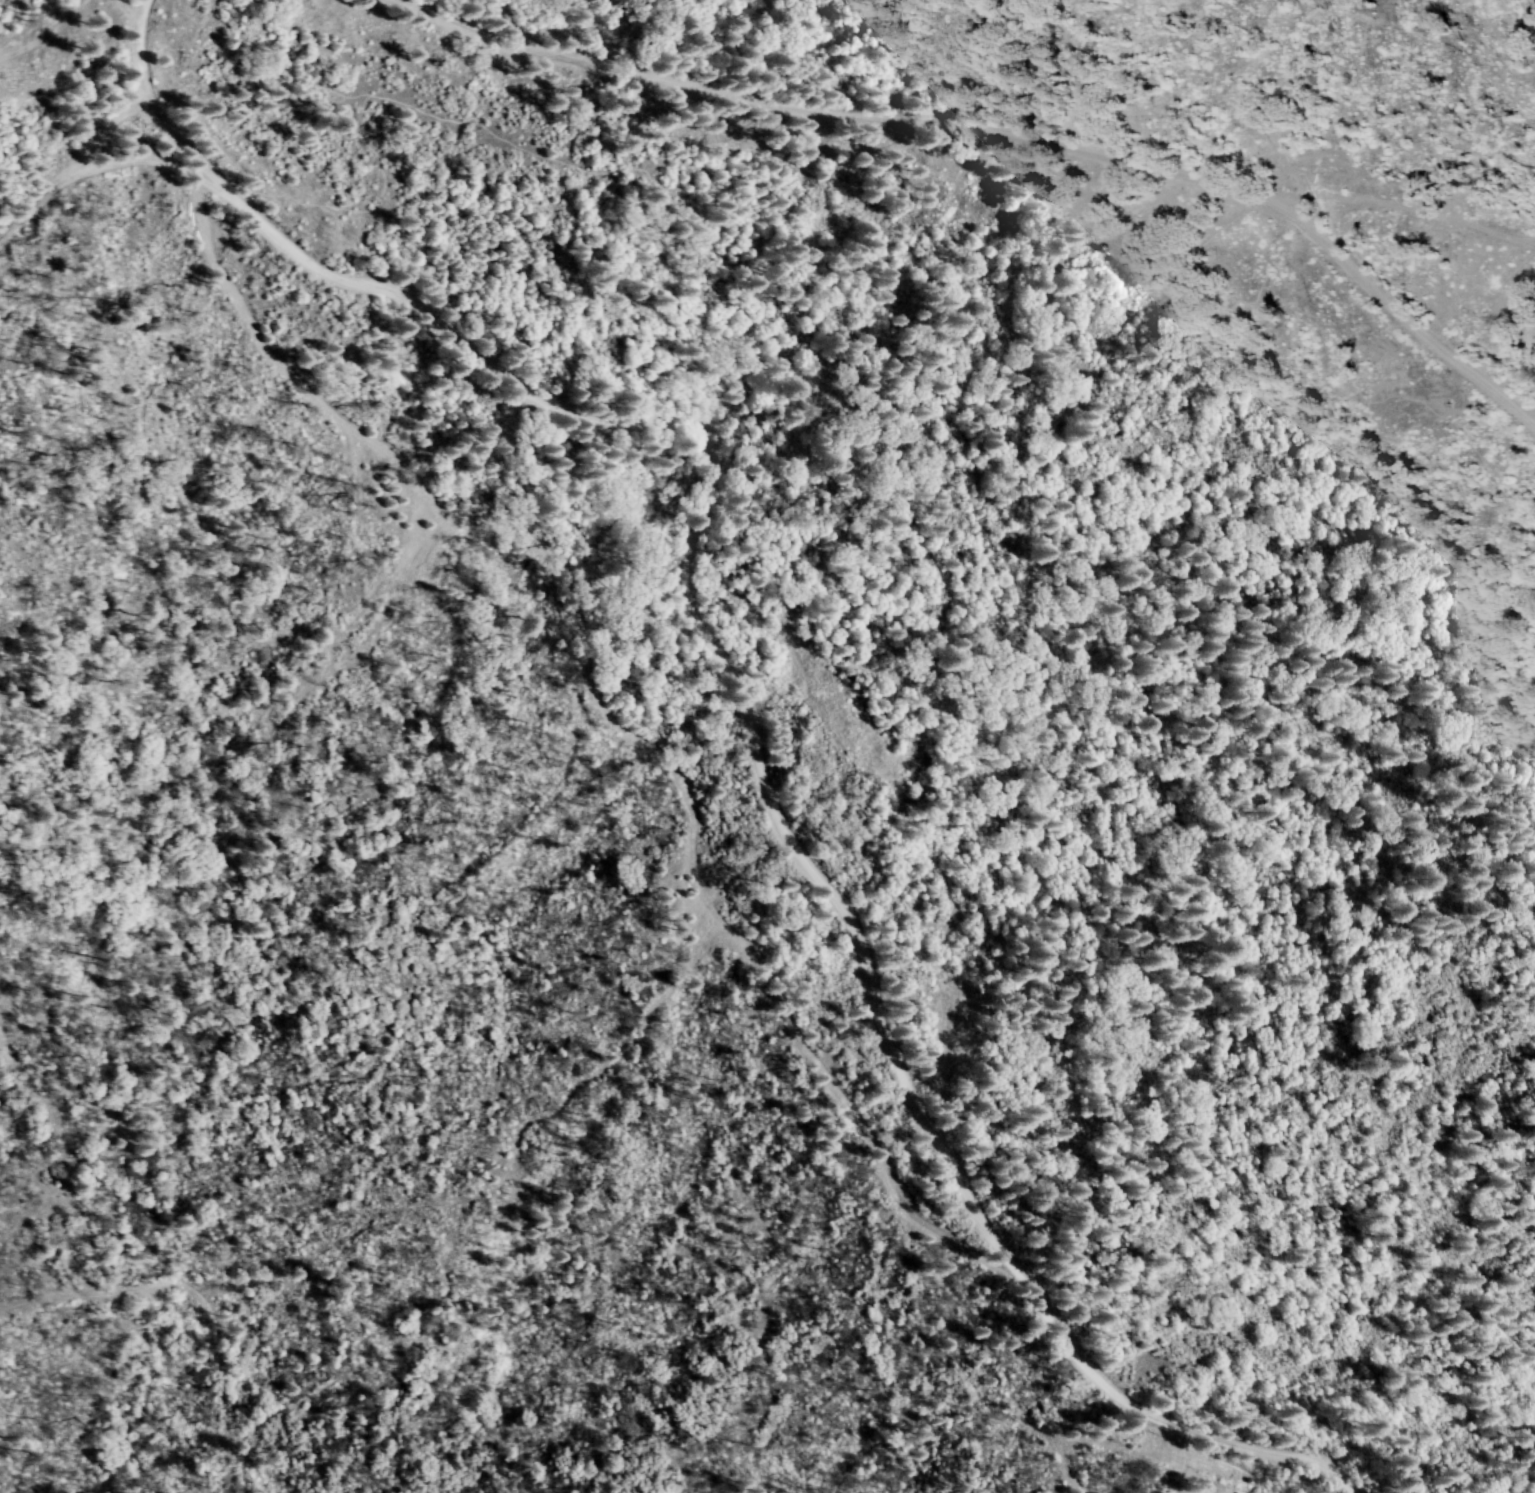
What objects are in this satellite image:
road: (117, 88)
road: (184, 116)
road: (1036, 131)
road: (763, 723)

